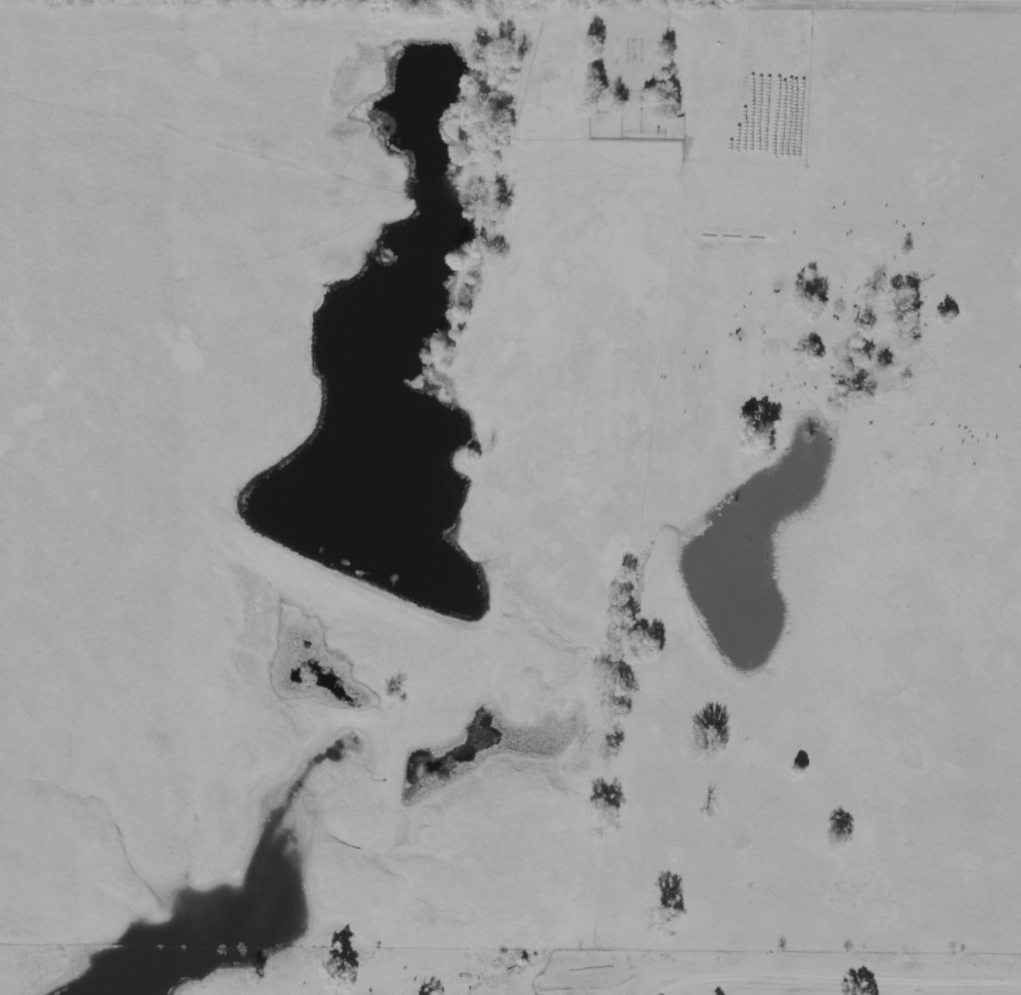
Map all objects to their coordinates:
road: (1000, 0)
road: (838, 980)

